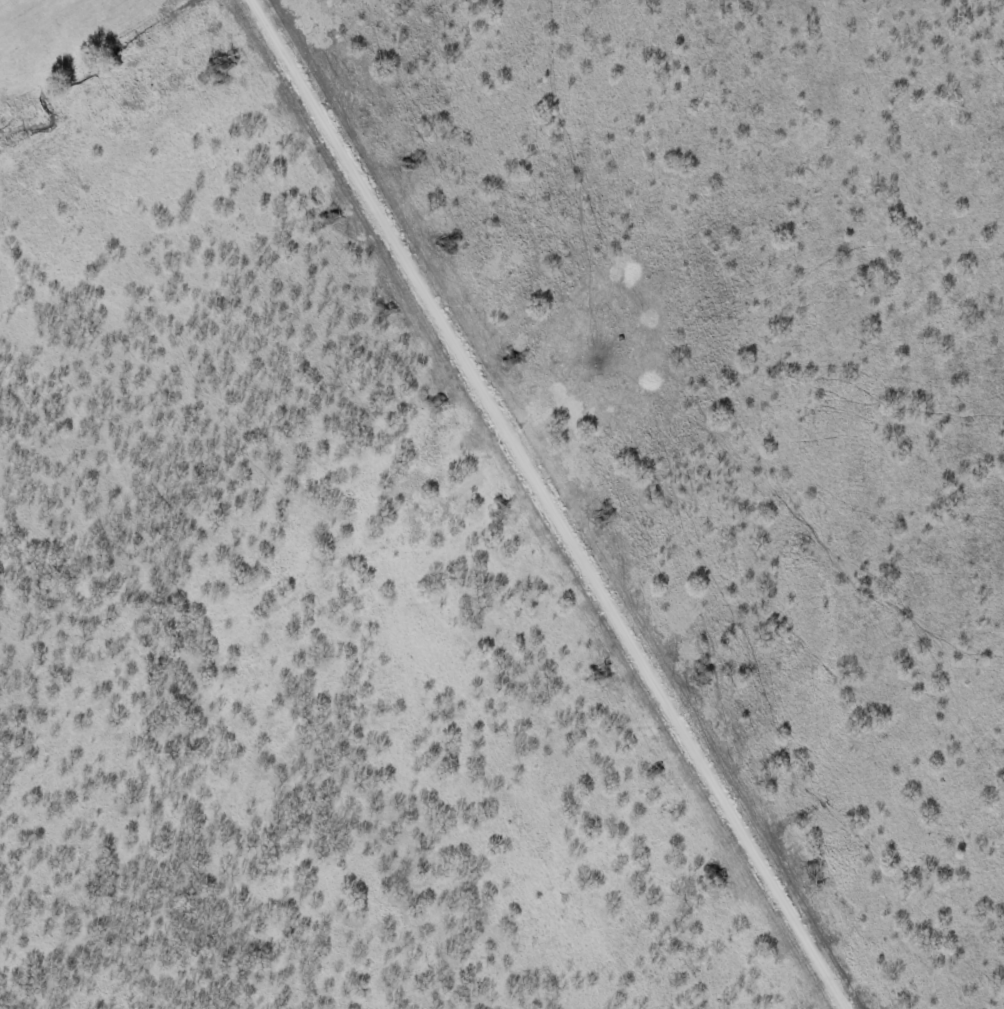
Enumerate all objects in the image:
road: (556, 505)

